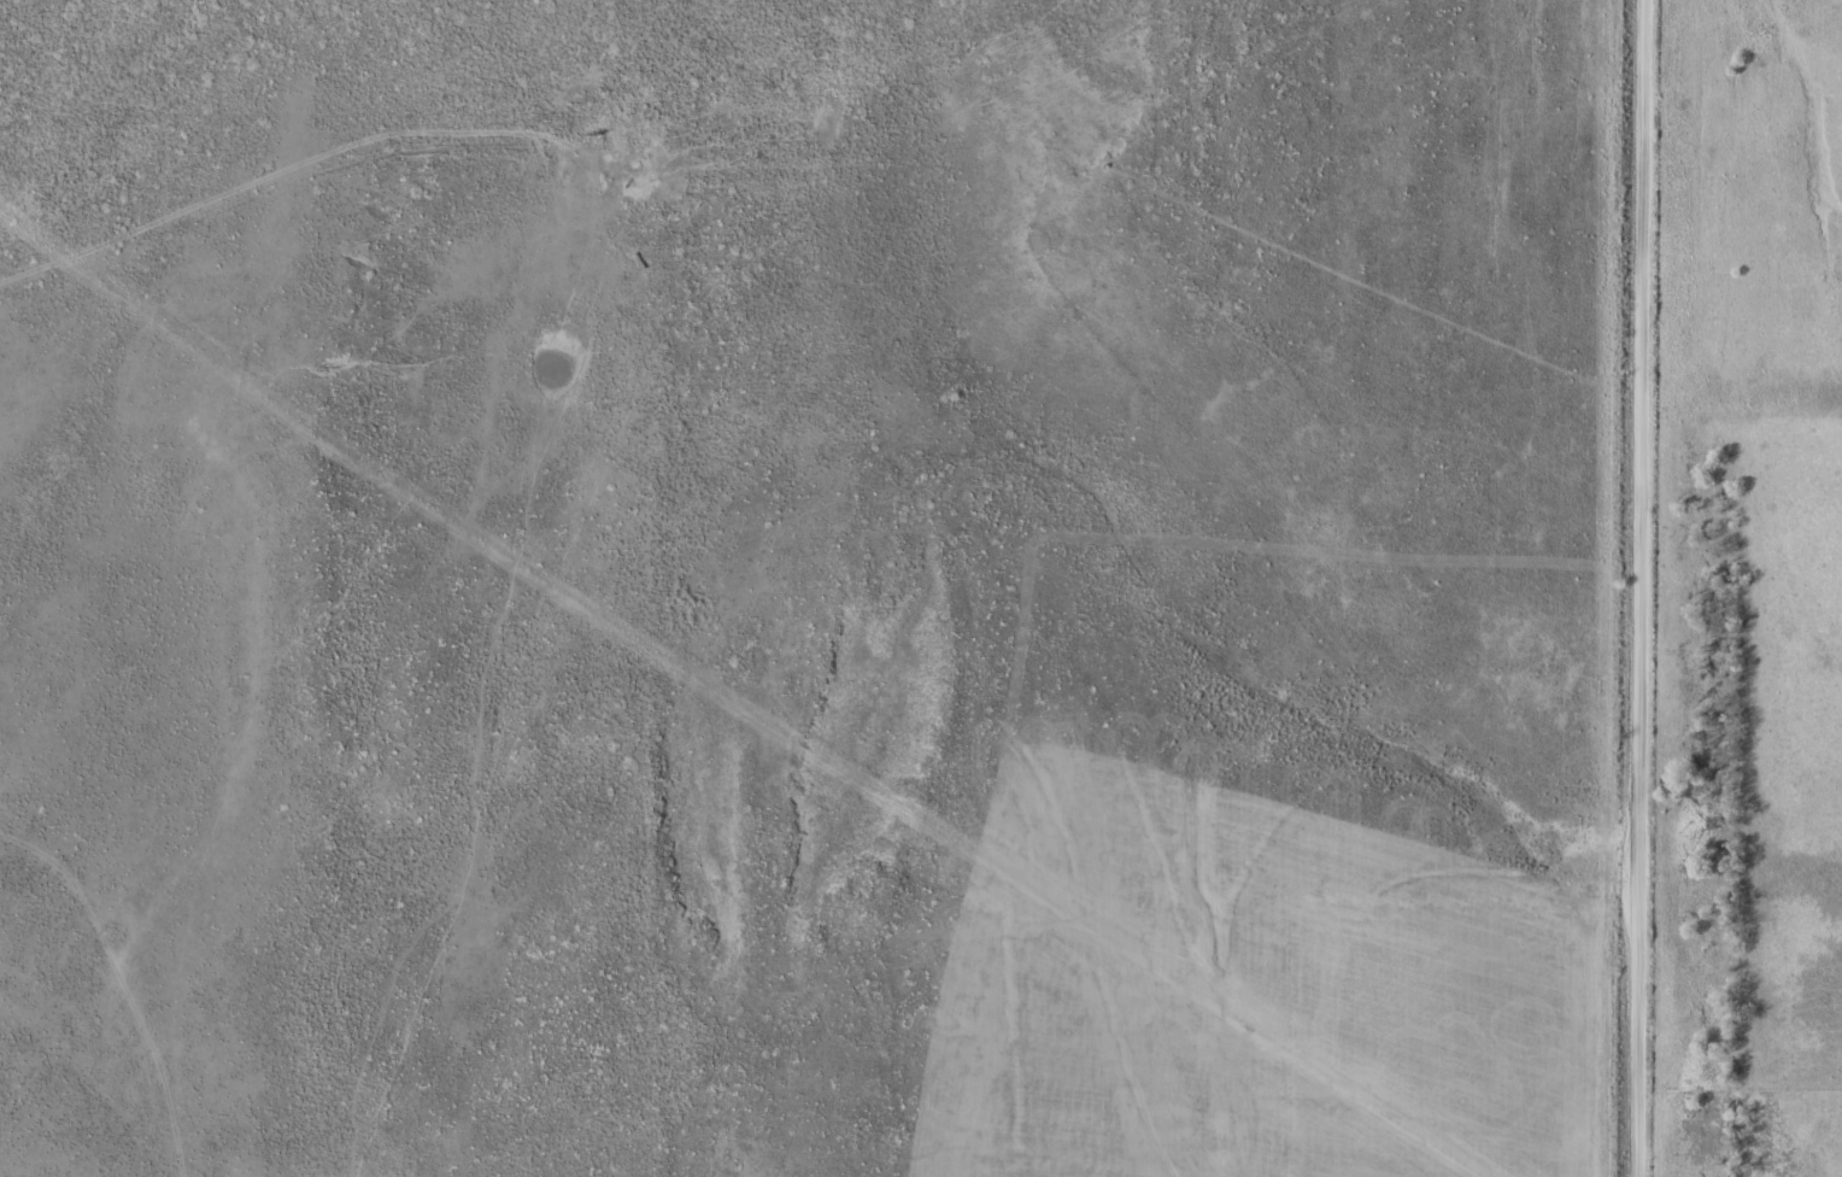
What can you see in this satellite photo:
road: (1630, 588)

